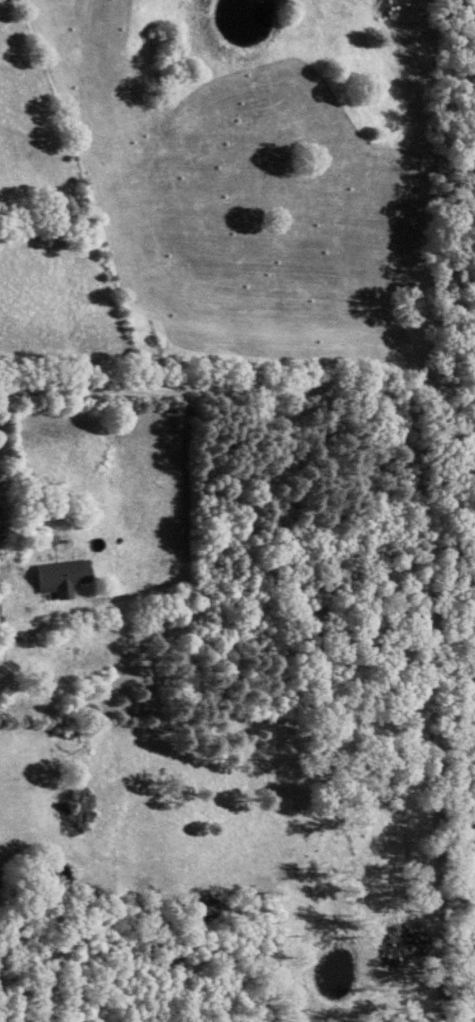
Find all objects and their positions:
road: (95, 192)
road: (237, 387)
road: (188, 531)
building: (65, 578)
building: (0, 622)

